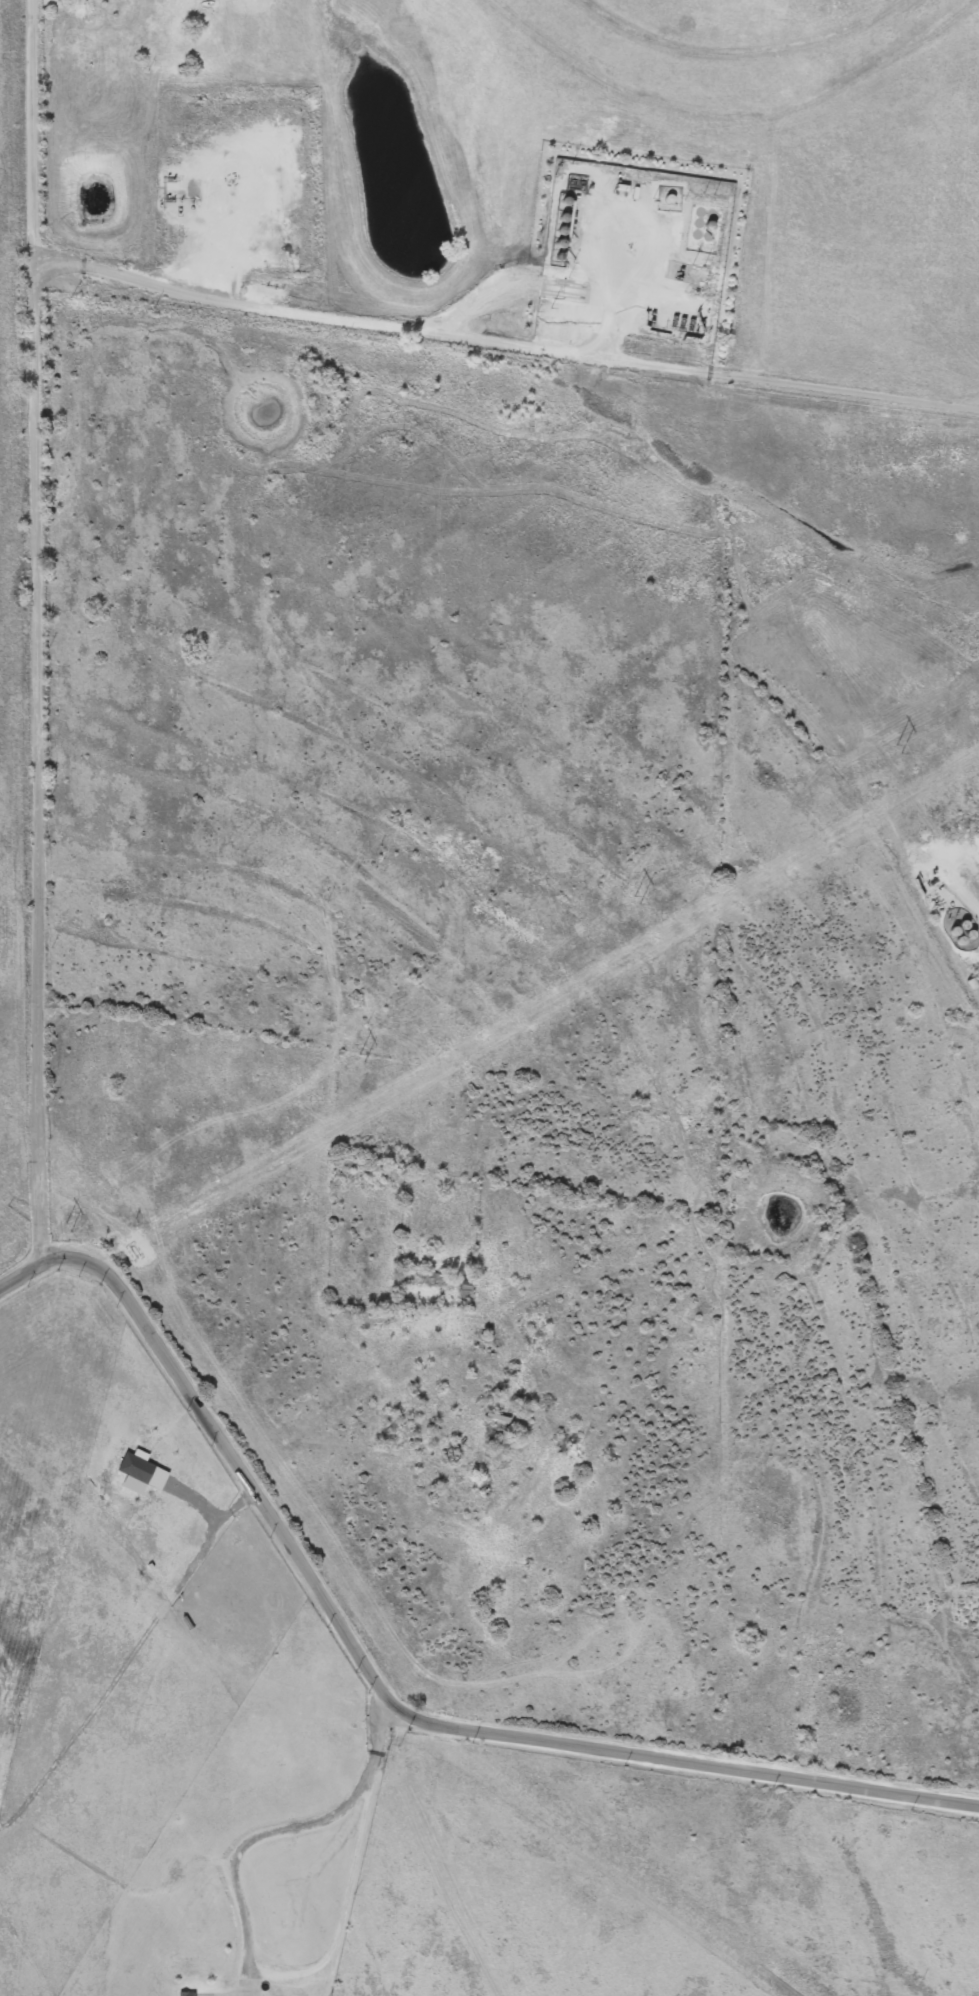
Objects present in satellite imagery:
building: (67, 50)
road: (502, 341)
road: (33, 628)
building: (430, 1279)
building: (496, 1420)
road: (206, 1508)
road: (379, 1690)
road: (245, 1919)
building: (186, 1994)

